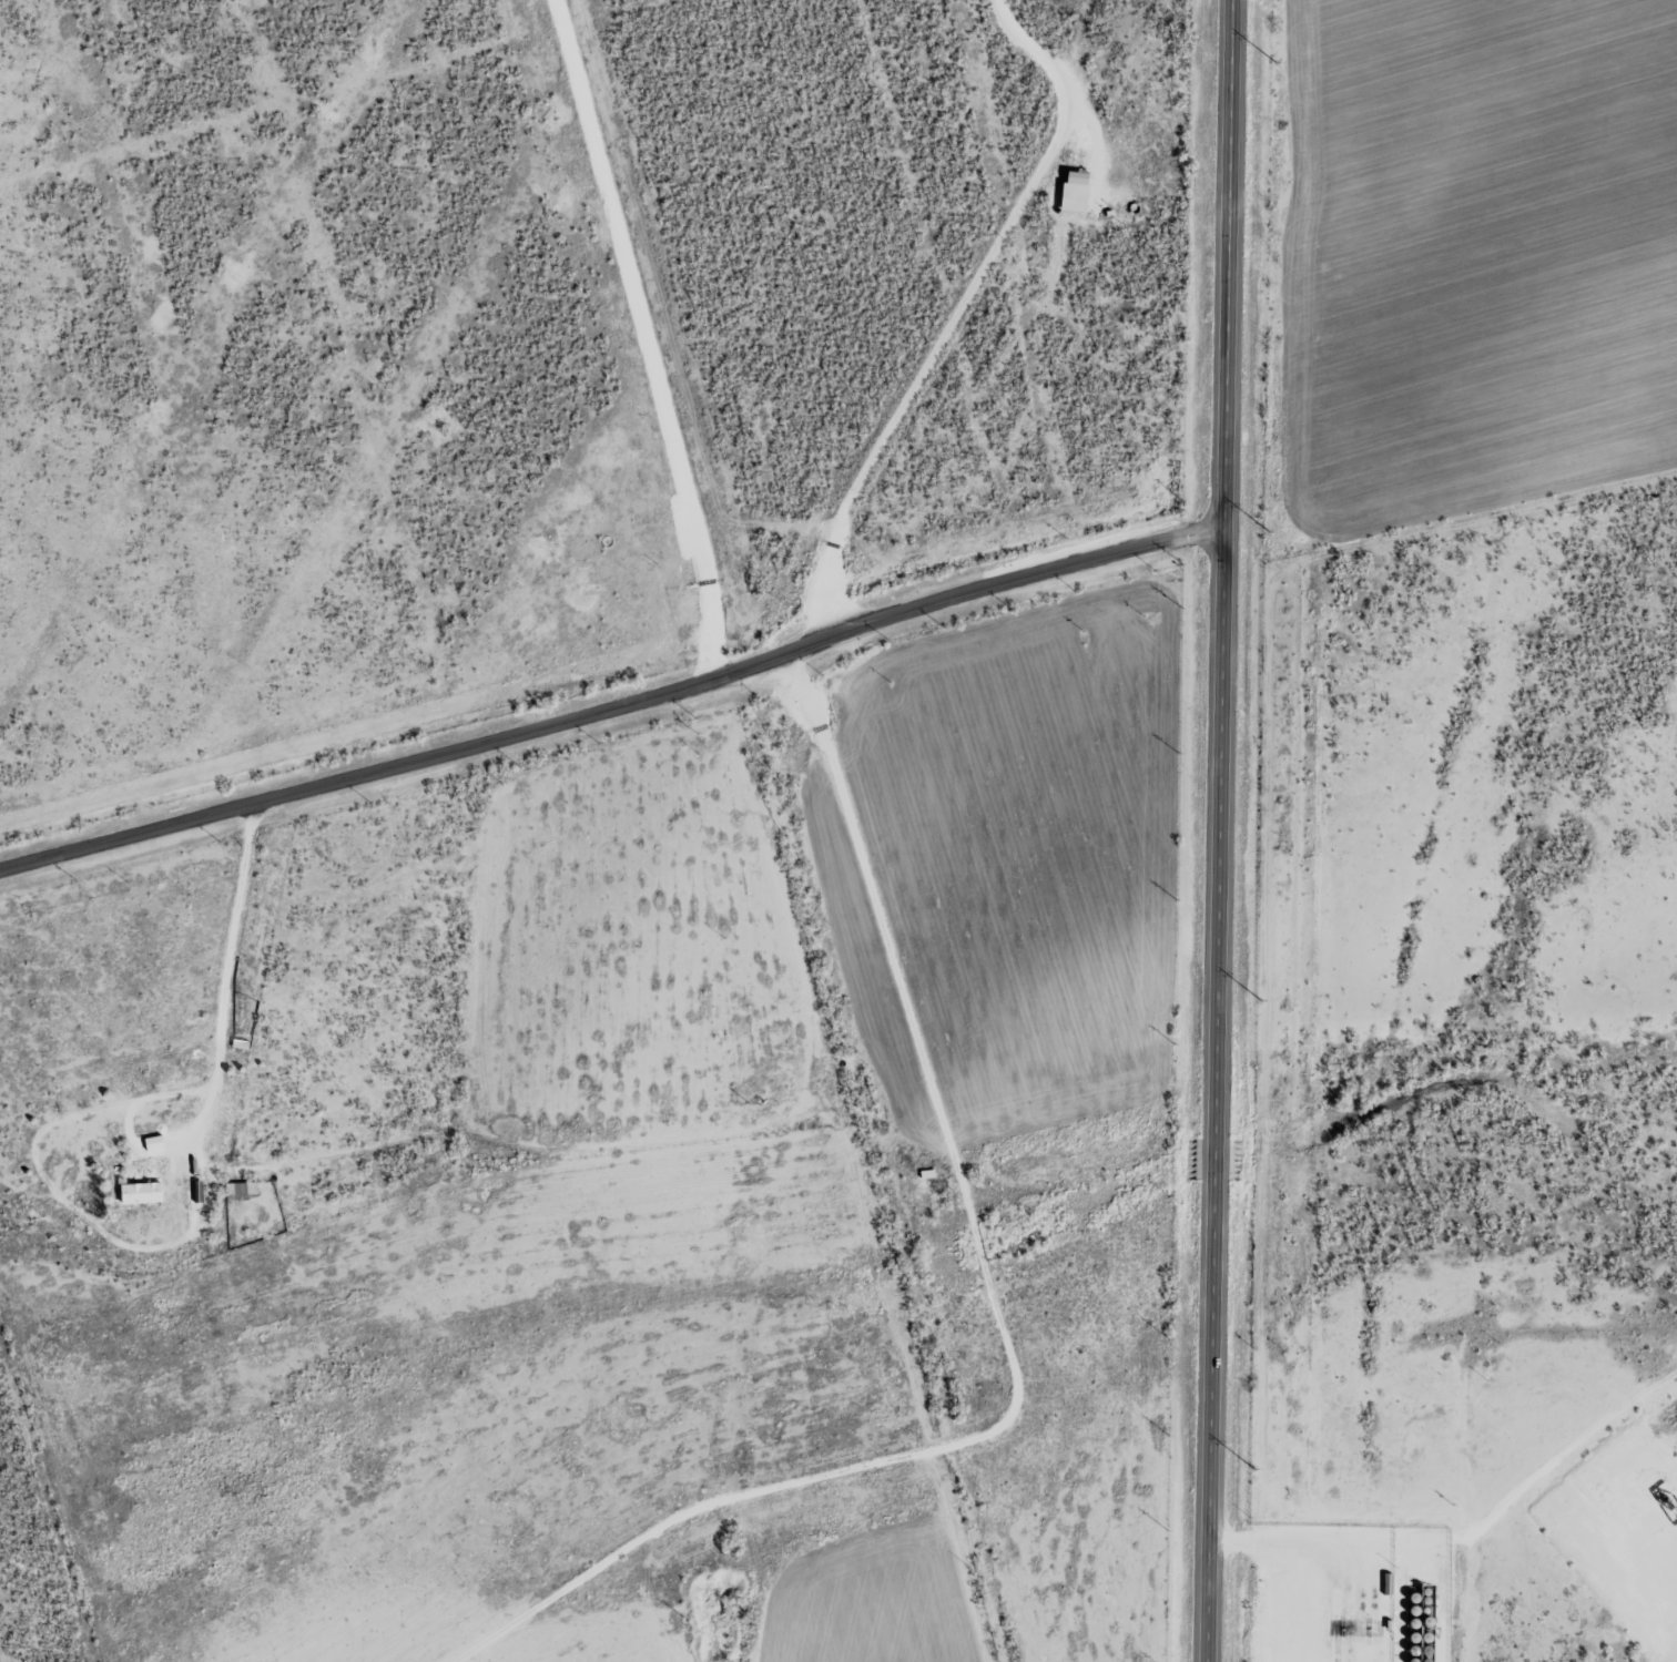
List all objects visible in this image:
power tower: (1277, 62)
building: (1076, 195)
power tower: (1269, 529)
road: (617, 704)
road: (1221, 830)
road: (221, 981)
power tower: (1262, 999)
building: (154, 1144)
building: (242, 1190)
building: (142, 1194)
power tower: (1253, 1467)

